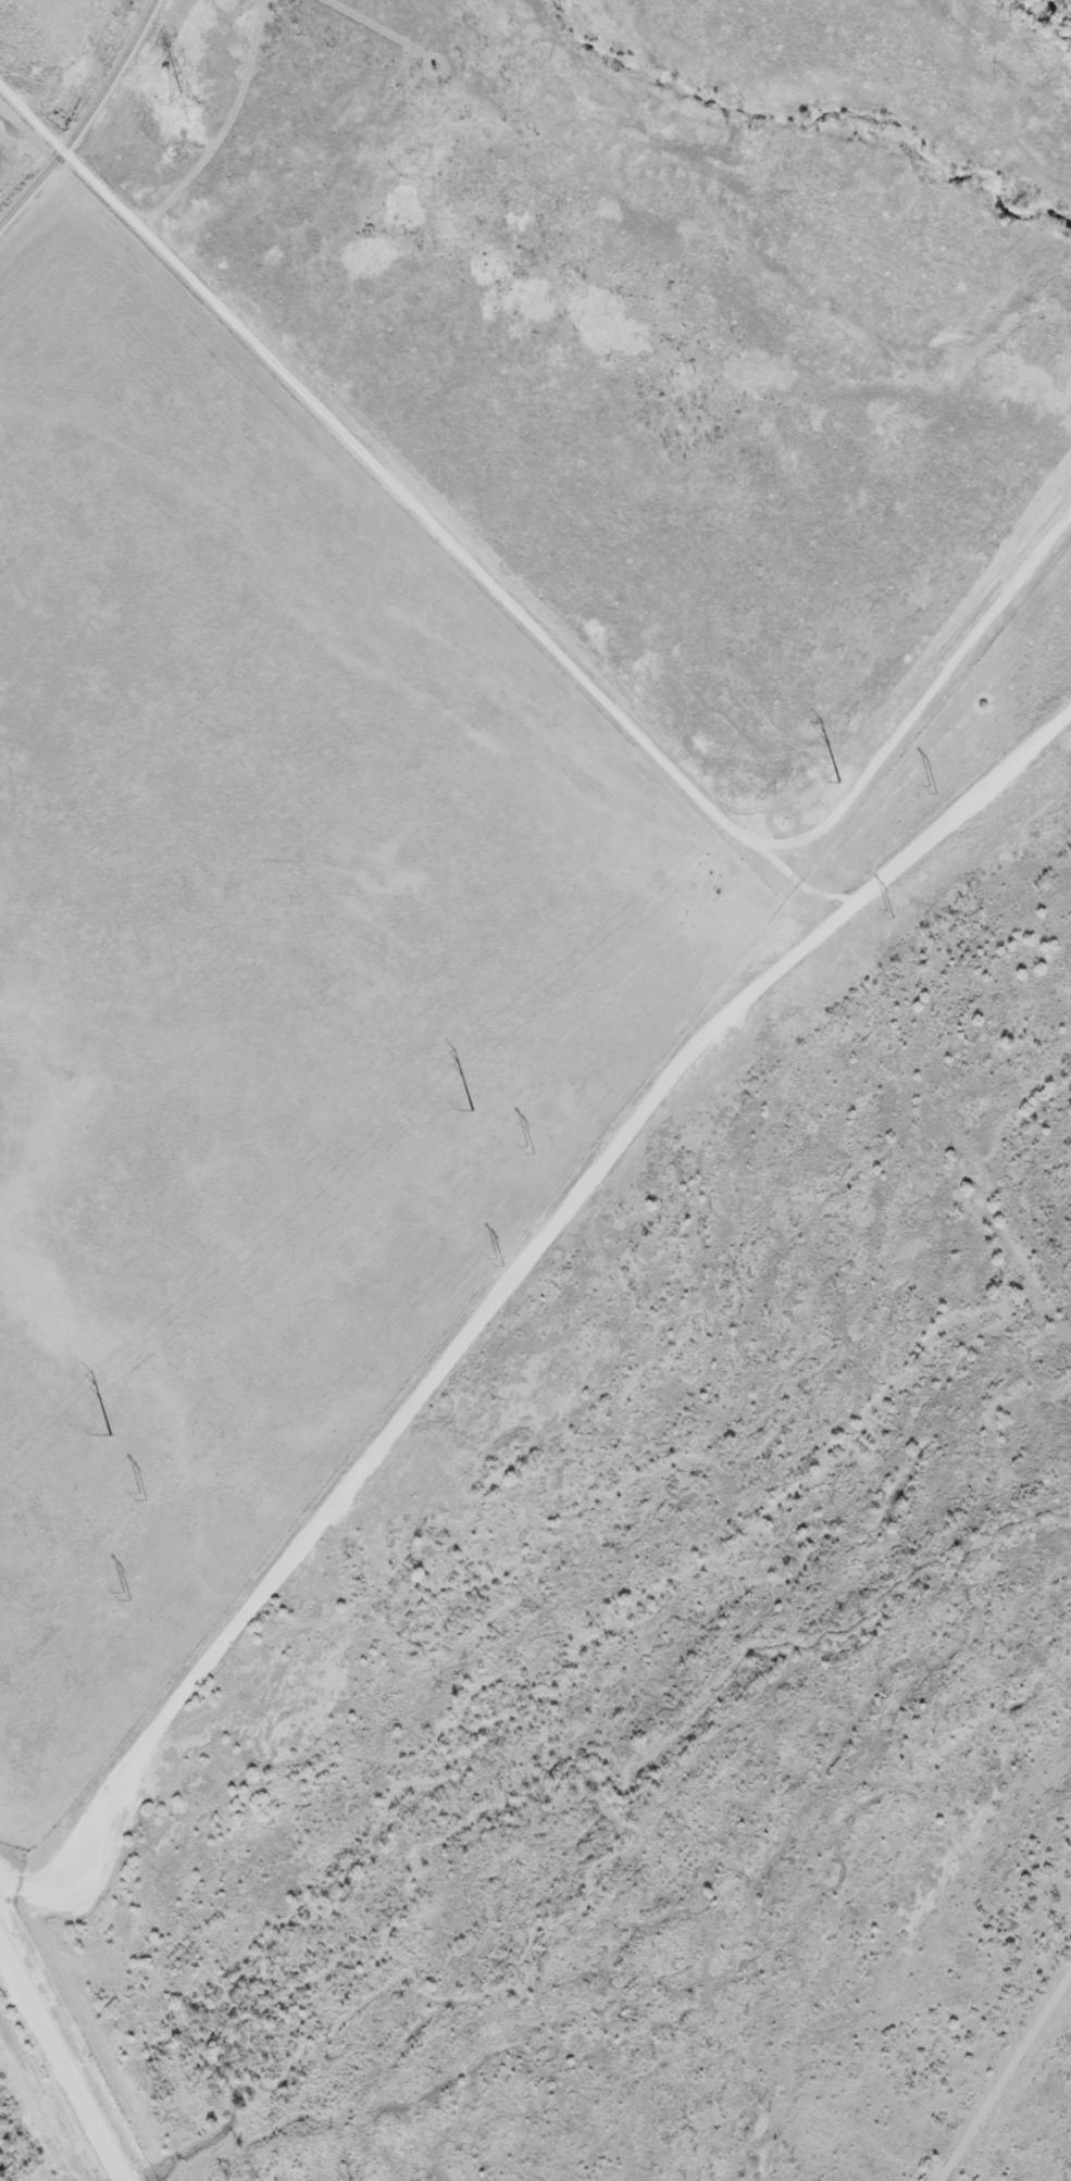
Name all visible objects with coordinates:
power tower: (186, 110)
railway: (85, 121)
power tower: (840, 784)
power tower: (937, 796)
power tower: (888, 913)
power tower: (472, 1112)
power tower: (526, 1149)
power tower: (500, 1257)
road: (512, 1274)
power tower: (108, 1434)
power tower: (136, 1500)
power tower: (128, 1591)
road: (63, 2060)

